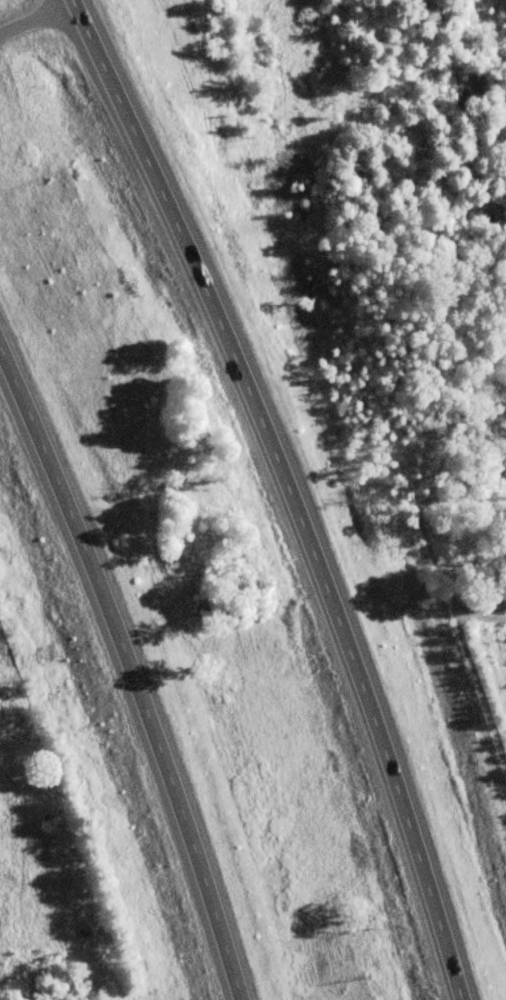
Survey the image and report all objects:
road: (41, 21)
road: (296, 490)
road: (133, 669)

